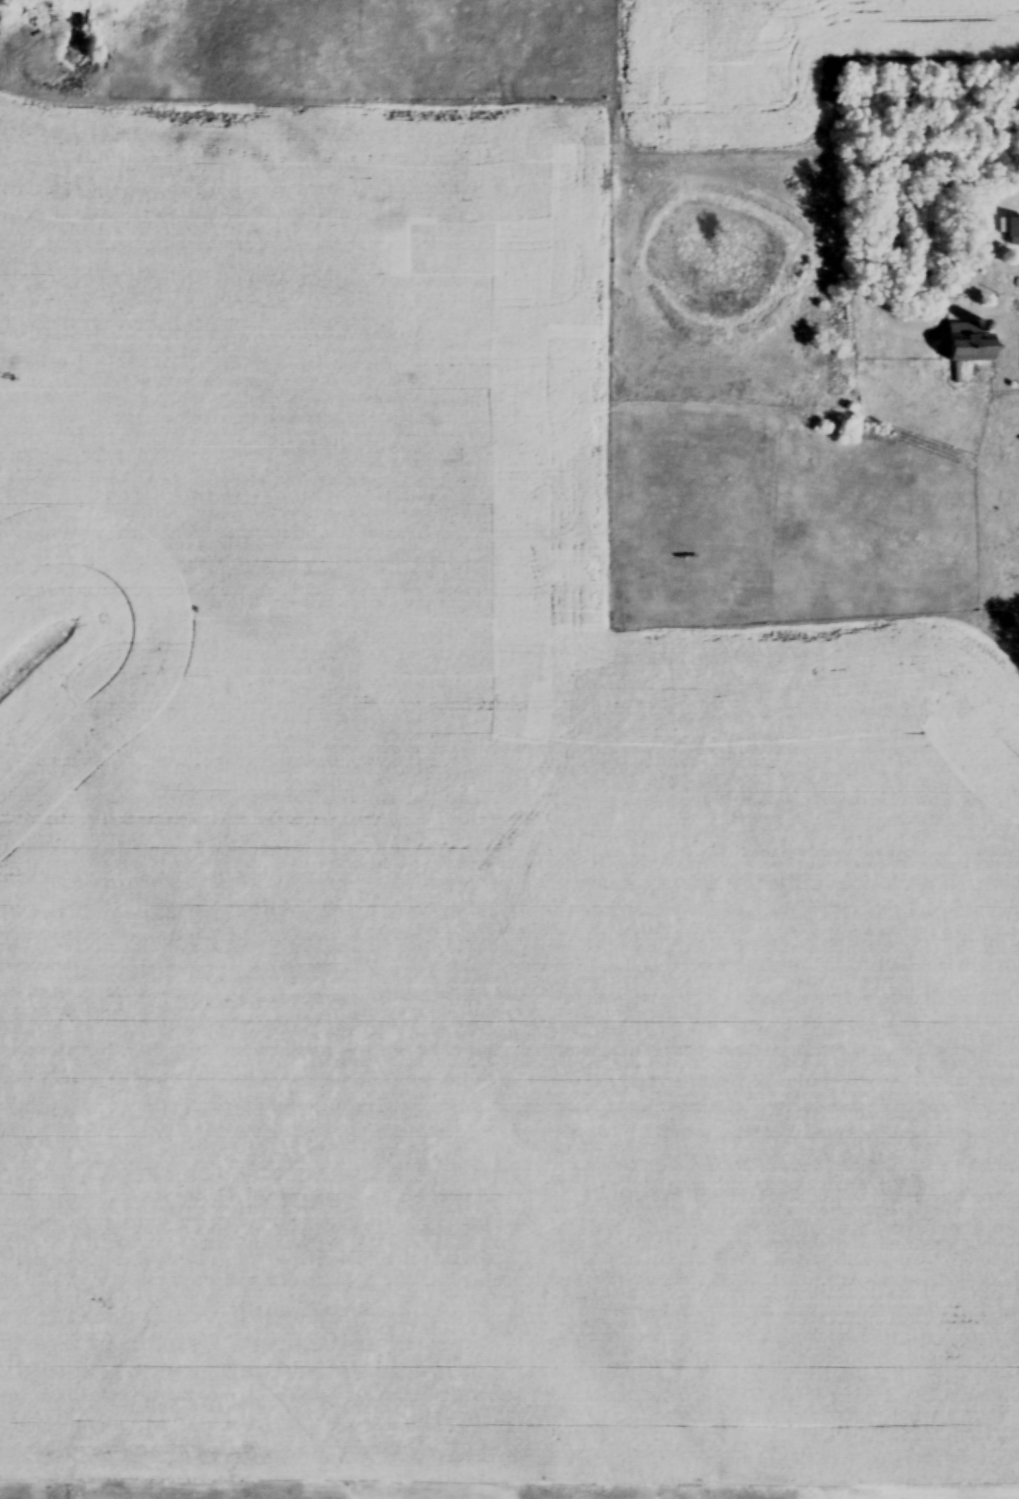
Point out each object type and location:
building: (1008, 230)
building: (978, 338)

